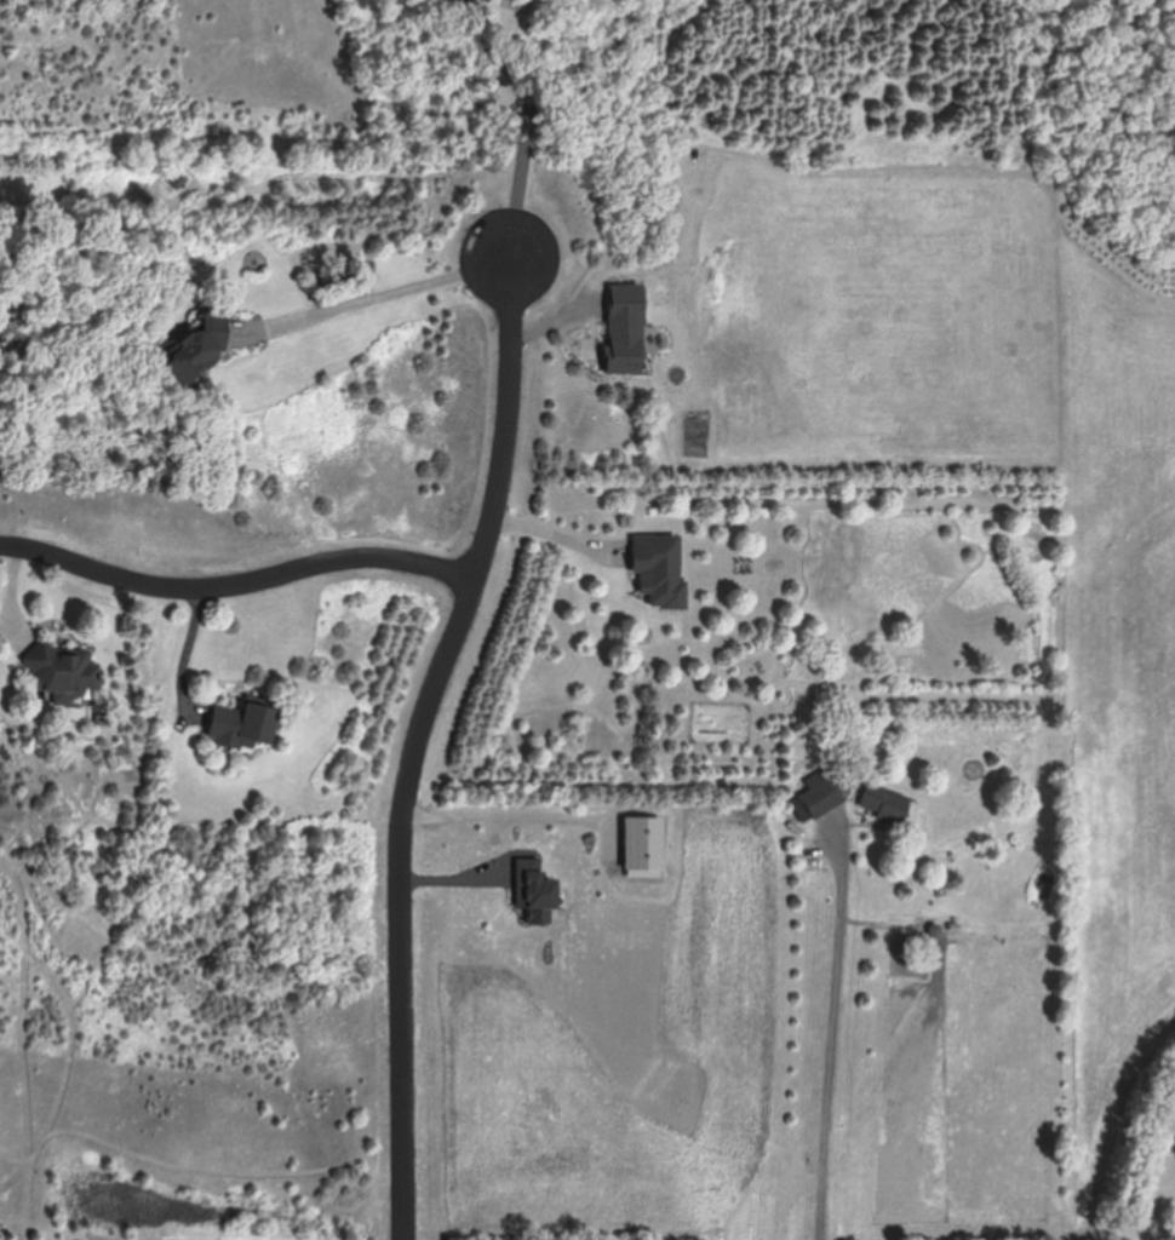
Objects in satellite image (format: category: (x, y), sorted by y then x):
building: (497, 0)
road: (529, 125)
road: (380, 295)
building: (197, 346)
road: (557, 535)
building: (659, 570)
road: (234, 580)
road: (12, 597)
road: (188, 650)
building: (64, 676)
building: (242, 724)
road: (414, 742)
building: (818, 797)
building: (884, 803)
road: (506, 817)
road: (831, 1029)

